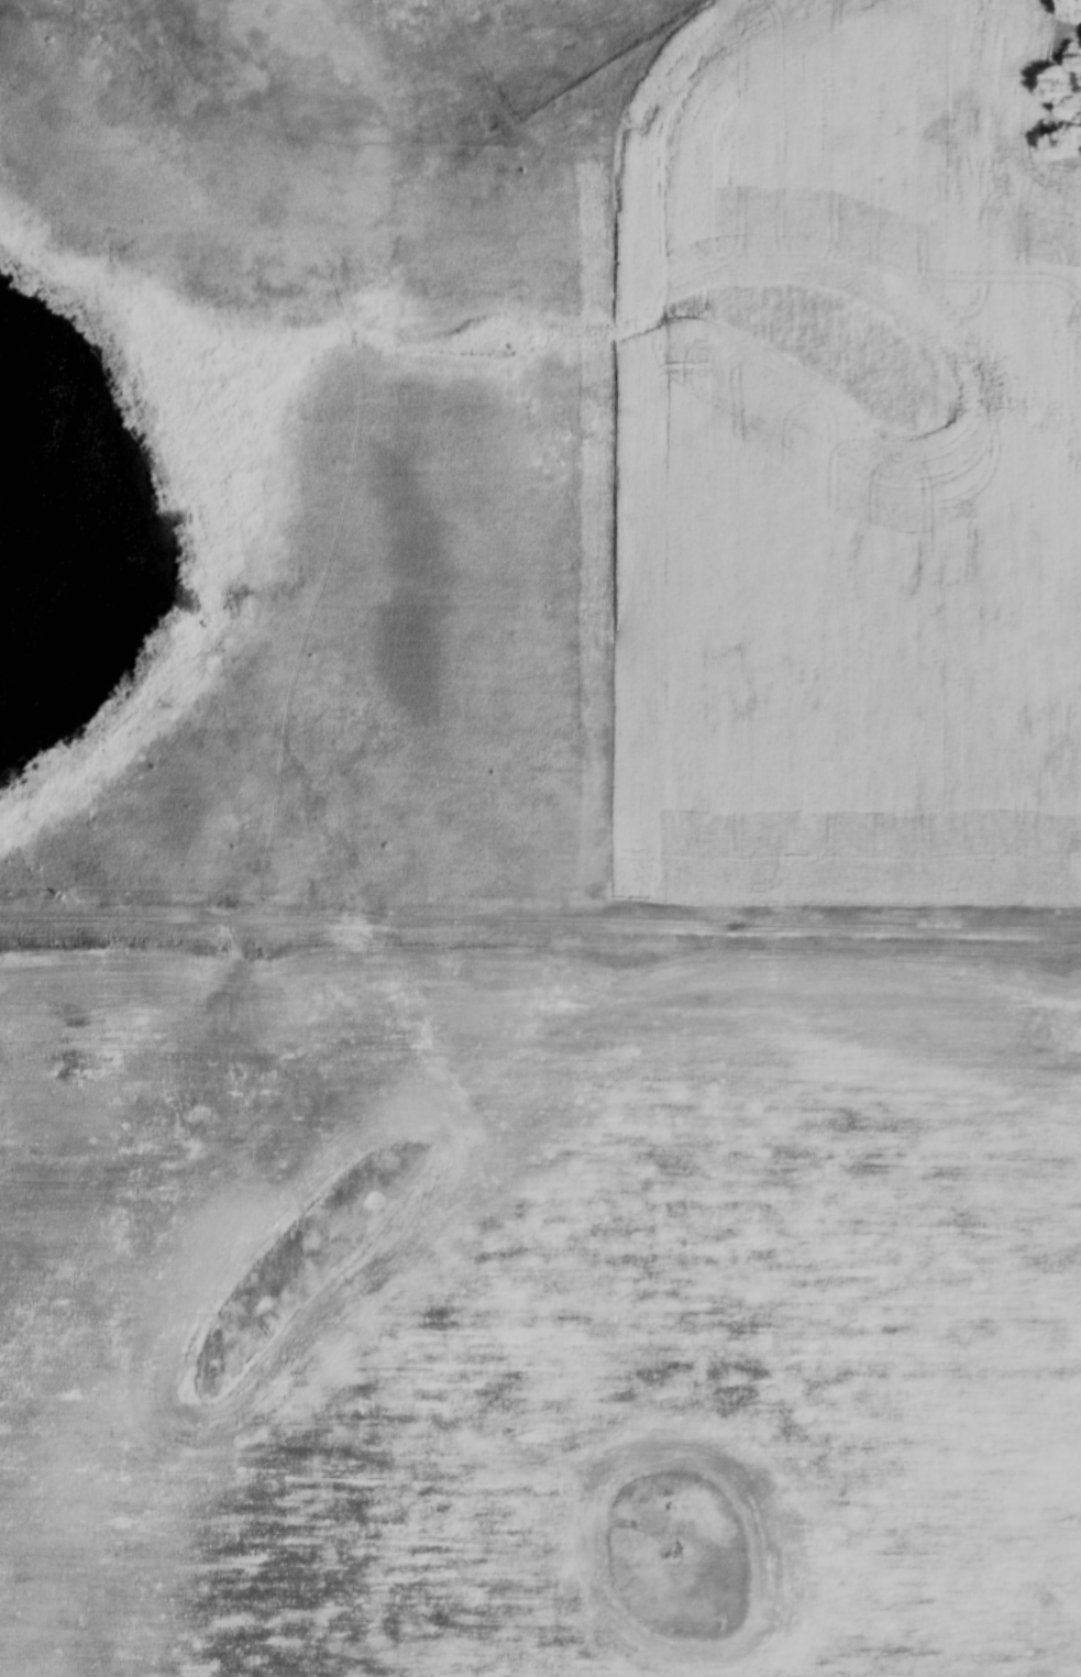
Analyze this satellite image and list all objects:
road: (609, 143)
road: (540, 913)
power tower: (269, 956)
power tower: (638, 959)
power tower: (1076, 962)

